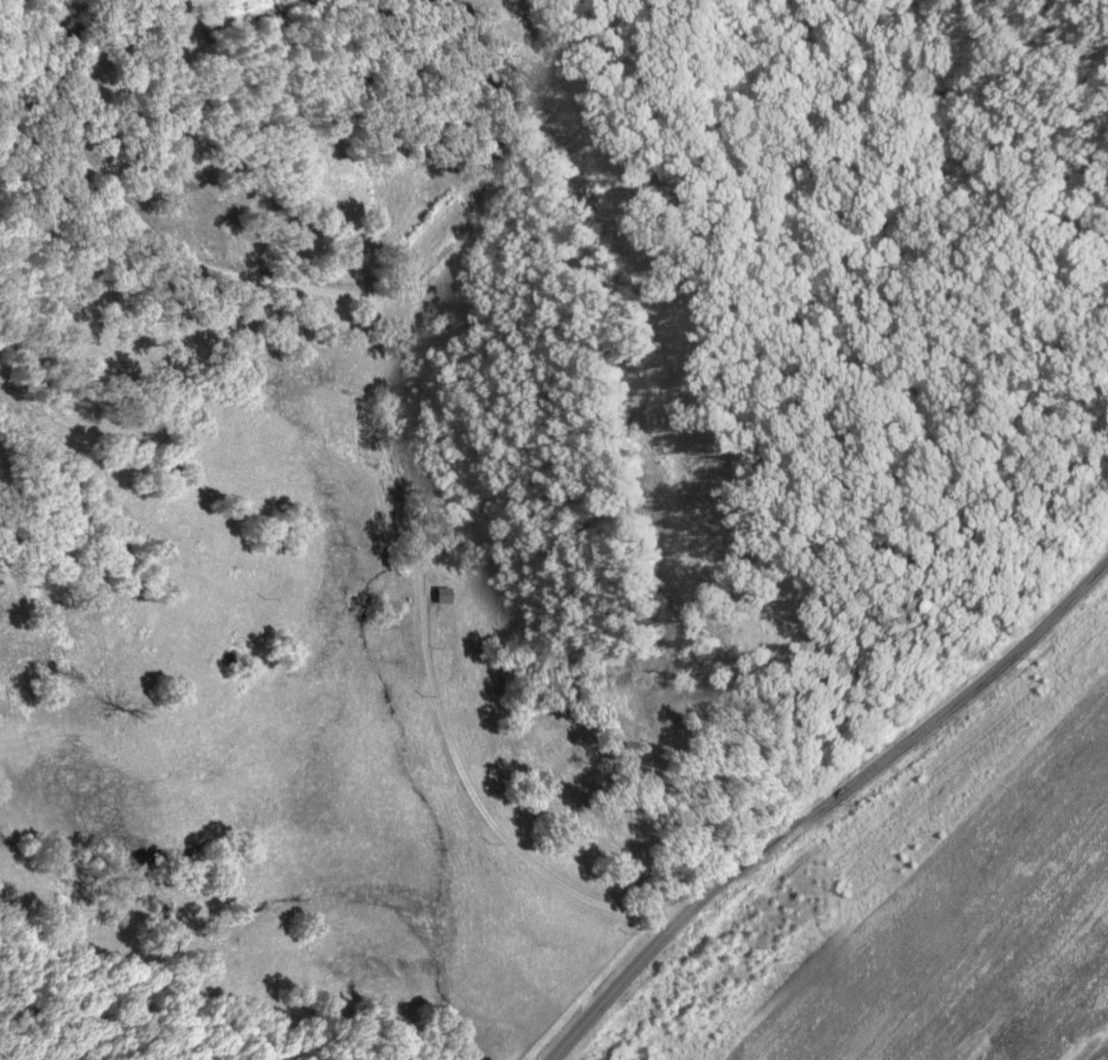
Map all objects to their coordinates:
road: (1105, 2)
road: (411, 413)
road: (814, 787)

